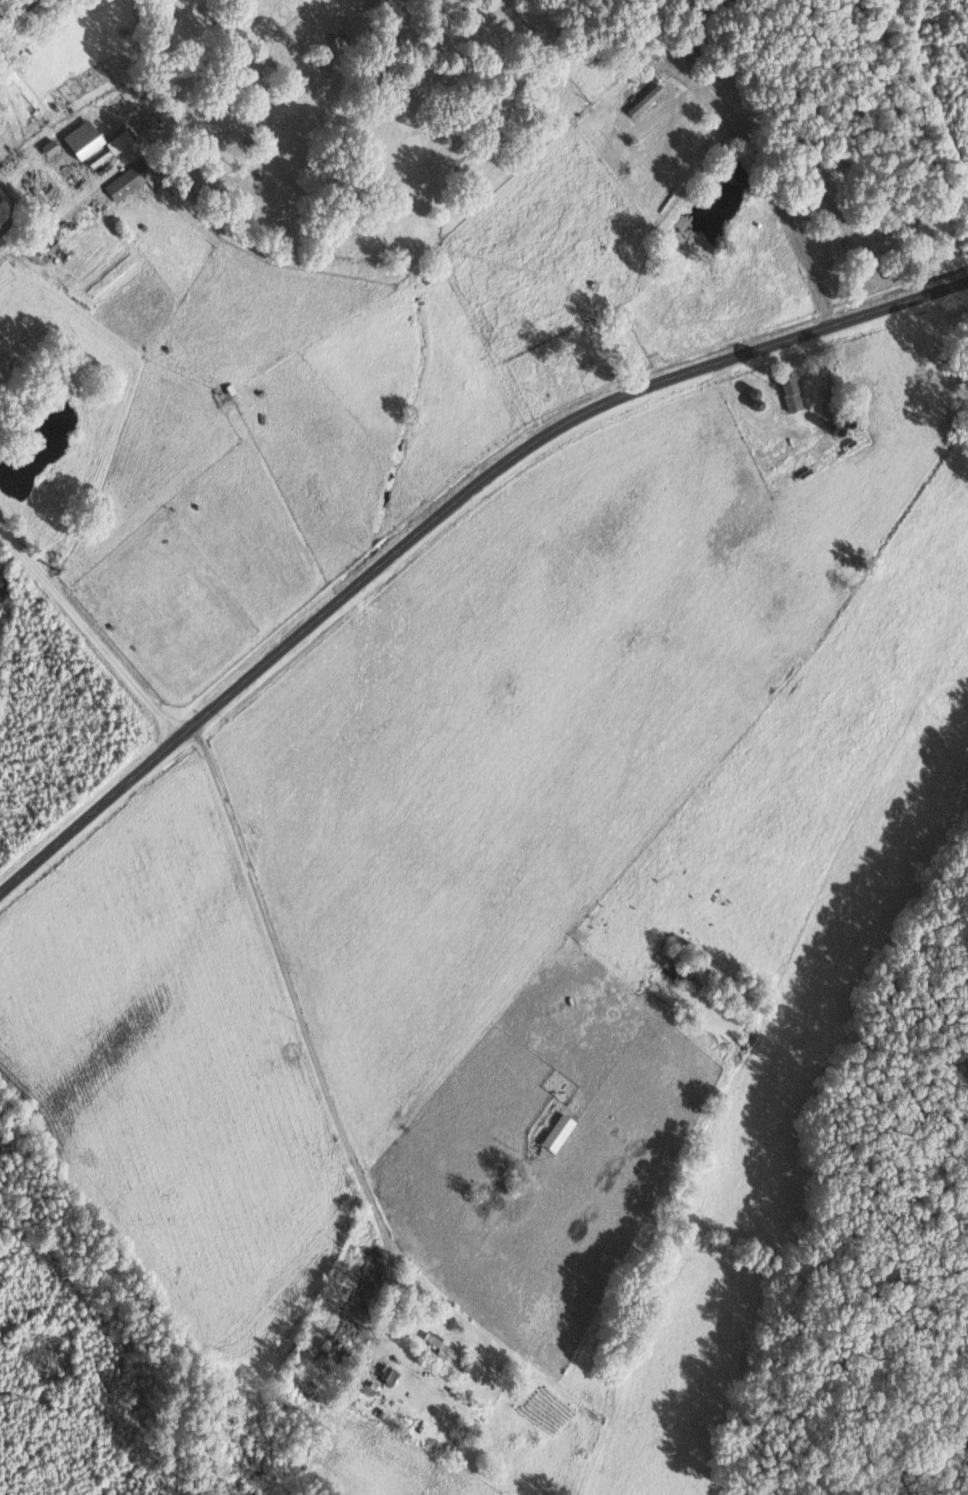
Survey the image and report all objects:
building: (85, 139)
building: (122, 141)
building: (52, 147)
building: (131, 179)
building: (5, 199)
building: (793, 394)
road: (440, 515)
road: (90, 632)
building: (560, 1132)
building: (391, 1375)

